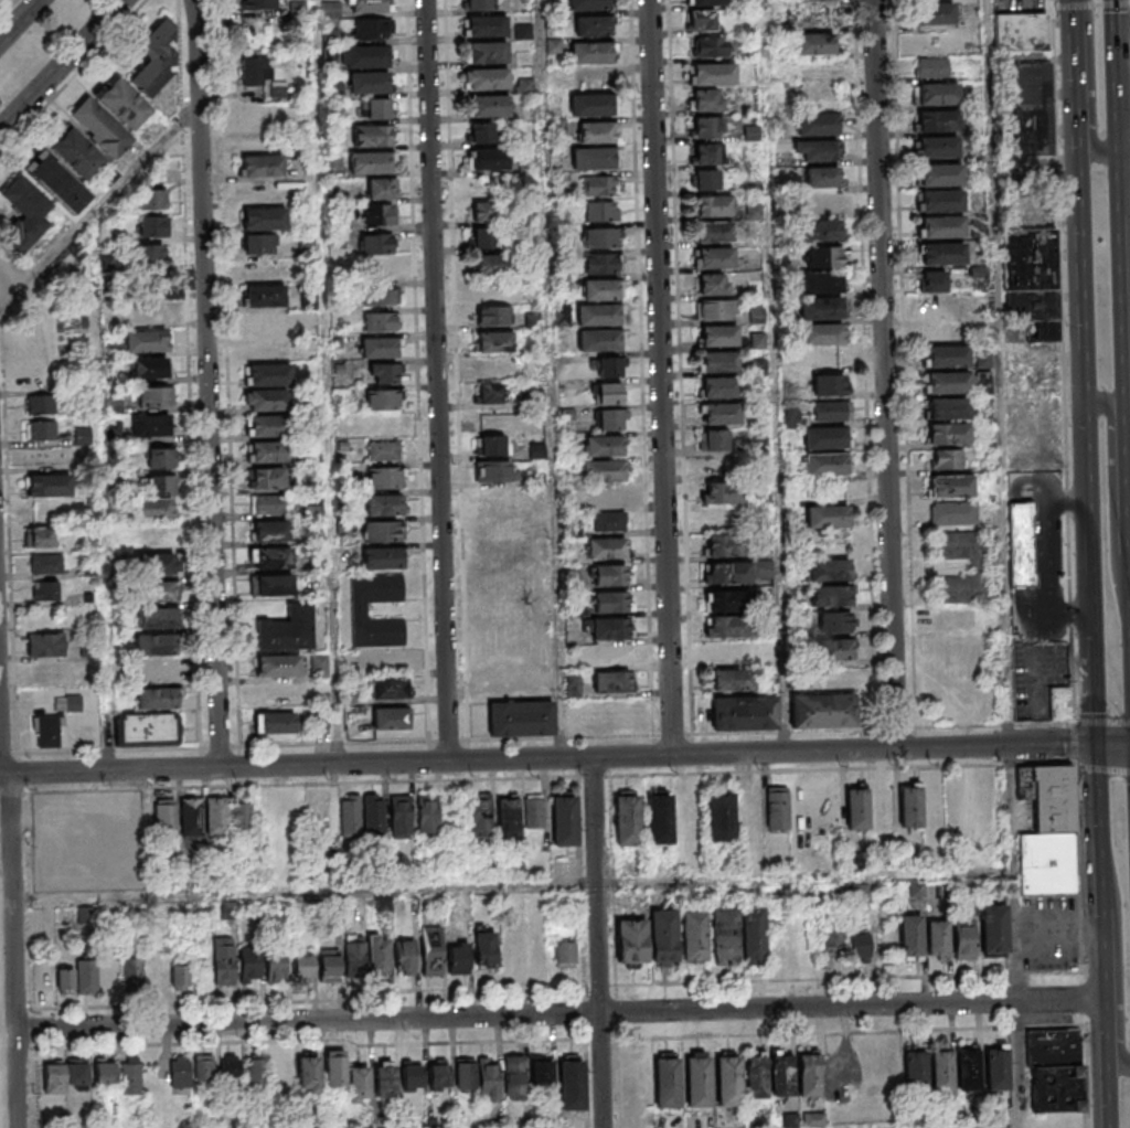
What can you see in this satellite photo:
building: (814, 0)
building: (263, 3)
road: (1073, 3)
building: (478, 4)
building: (712, 4)
road: (1090, 4)
building: (589, 7)
building: (330, 9)
building: (366, 9)
building: (935, 13)
building: (814, 17)
building: (701, 20)
road: (21, 22)
building: (594, 25)
building: (372, 28)
building: (487, 32)
building: (1022, 35)
building: (330, 36)
building: (553, 46)
building: (708, 46)
building: (814, 49)
building: (329, 53)
road: (1075, 56)
building: (591, 57)
building: (156, 58)
building: (488, 58)
building: (366, 63)
road: (62, 67)
building: (932, 67)
building: (822, 70)
building: (256, 71)
road: (1118, 74)
building: (715, 78)
building: (488, 84)
road: (1092, 85)
building: (1032, 86)
building: (369, 88)
building: (938, 98)
building: (705, 100)
building: (489, 106)
building: (375, 108)
building: (593, 109)
building: (253, 114)
building: (110, 117)
building: (817, 124)
building: (939, 125)
building: (706, 127)
building: (481, 132)
building: (1033, 134)
building: (371, 135)
building: (597, 137)
building: (818, 150)
road: (1126, 150)
building: (939, 151)
building: (76, 153)
building: (705, 155)
building: (487, 159)
building: (594, 162)
building: (262, 166)
building: (371, 168)
building: (828, 177)
building: (704, 179)
building: (942, 179)
building: (57, 182)
building: (599, 185)
building: (382, 189)
building: (150, 200)
building: (823, 203)
building: (942, 205)
building: (715, 210)
building: (483, 211)
building: (601, 211)
building: (26, 212)
building: (377, 214)
building: (265, 219)
building: (151, 225)
building: (945, 232)
building: (821, 234)
building: (716, 235)
building: (483, 237)
building: (600, 237)
building: (376, 243)
building: (259, 244)
building: (150, 253)
road: (1081, 255)
building: (823, 256)
building: (944, 258)
building: (716, 260)
building: (601, 263)
building: (107, 264)
building: (491, 264)
building: (264, 268)
building: (380, 269)
building: (6, 275)
building: (931, 280)
building: (1032, 281)
building: (711, 285)
building: (823, 286)
road: (1126, 287)
building: (601, 294)
building: (265, 296)
building: (380, 296)
building: (945, 305)
building: (152, 311)
building: (823, 311)
building: (718, 312)
building: (491, 315)
building: (599, 319)
building: (381, 321)
building: (266, 323)
building: (944, 332)
building: (823, 338)
building: (721, 339)
building: (493, 341)
building: (600, 344)
building: (152, 347)
building: (381, 347)
road: (1064, 361)
building: (948, 362)
building: (824, 364)
road: (906, 364)
building: (722, 365)
building: (608, 366)
building: (150, 368)
building: (499, 368)
road: (682, 369)
building: (383, 373)
road: (998, 373)
road: (886, 374)
building: (268, 375)
road: (775, 375)
road: (663, 377)
road: (552, 379)
road: (439, 381)
road: (206, 383)
building: (830, 384)
road: (868, 385)
road: (643, 387)
building: (949, 387)
building: (607, 392)
building: (722, 392)
building: (490, 394)
building: (153, 396)
building: (382, 400)
building: (40, 404)
building: (268, 405)
building: (831, 411)
building: (949, 413)
building: (609, 418)
building: (723, 418)
building: (41, 430)
building: (153, 430)
building: (271, 430)
building: (83, 436)
road: (330, 438)
building: (949, 438)
building: (713, 440)
building: (827, 443)
building: (492, 445)
building: (383, 450)
building: (605, 450)
building: (271, 457)
building: (159, 458)
building: (946, 458)
building: (827, 469)
building: (495, 471)
building: (604, 476)
building: (385, 478)
building: (267, 479)
building: (161, 483)
building: (46, 485)
building: (723, 493)
building: (951, 493)
building: (608, 496)
road: (1115, 498)
building: (383, 504)
building: (508, 504)
road: (1067, 506)
building: (273, 507)
building: (153, 514)
building: (955, 518)
building: (608, 521)
road: (1090, 522)
building: (829, 524)
building: (382, 531)
building: (271, 532)
building: (38, 536)
building: (154, 543)
building: (1022, 545)
building: (505, 549)
building: (725, 553)
building: (607, 555)
building: (384, 557)
road: (1123, 558)
building: (271, 560)
building: (45, 564)
road: (1054, 566)
building: (978, 567)
building: (157, 570)
building: (611, 575)
building: (829, 576)
building: (504, 579)
building: (726, 579)
building: (271, 586)
building: (45, 589)
building: (830, 595)
building: (160, 596)
building: (611, 602)
building: (732, 607)
building: (501, 608)
building: (361, 613)
road: (1038, 615)
building: (955, 620)
building: (835, 621)
building: (160, 624)
building: (611, 628)
building: (733, 632)
building: (289, 634)
building: (45, 643)
building: (839, 649)
building: (157, 650)
building: (611, 655)
building: (731, 655)
building: (277, 666)
building: (45, 671)
building: (159, 671)
road: (1038, 678)
building: (611, 681)
building: (573, 685)
building: (735, 687)
building: (388, 688)
road: (1095, 693)
building: (1059, 703)
building: (160, 704)
building: (823, 711)
building: (744, 712)
building: (391, 717)
building: (521, 719)
building: (55, 721)
building: (275, 723)
road: (1101, 723)
building: (147, 731)
road: (449, 743)
traffic signals: (1096, 745)
road: (1075, 746)
road: (1112, 746)
road: (547, 758)
road: (1102, 769)
road: (550, 779)
building: (912, 804)
building: (857, 807)
building: (751, 809)
building: (778, 810)
building: (534, 811)
building: (241, 815)
building: (374, 815)
building: (480, 815)
building: (719, 815)
building: (217, 816)
building: (350, 816)
building: (507, 816)
building: (139, 817)
building: (191, 817)
building: (402, 817)
building: (428, 817)
building: (659, 817)
building: (166, 818)
building: (564, 818)
building: (626, 819)
building: (1048, 831)
road: (1097, 832)
road: (1078, 870)
road: (316, 890)
building: (915, 890)
road: (9, 896)
building: (228, 911)
building: (994, 929)
building: (754, 930)
building: (662, 934)
building: (693, 935)
building: (724, 936)
road: (1015, 936)
building: (910, 937)
building: (964, 939)
building: (937, 940)
building: (831, 941)
road: (596, 943)
building: (857, 946)
building: (483, 947)
building: (431, 949)
building: (376, 950)
road: (1119, 951)
building: (510, 955)
building: (564, 955)
building: (354, 956)
building: (405, 957)
building: (459, 959)
building: (223, 961)
building: (250, 962)
building: (275, 964)
building: (330, 966)
building: (302, 967)
building: (132, 972)
building: (87, 976)
building: (179, 976)
building: (65, 978)
road: (1101, 986)
road: (1081, 999)
road: (248, 1003)
road: (558, 1014)
road: (806, 1034)
building: (203, 1066)
building: (284, 1067)
building: (996, 1067)
building: (231, 1068)
building: (969, 1068)
building: (334, 1070)
building: (542, 1070)
building: (916, 1070)
building: (941, 1070)
building: (256, 1071)
building: (1054, 1071)
building: (105, 1072)
building: (180, 1072)
building: (308, 1072)
building: (808, 1073)
building: (466, 1074)
building: (781, 1074)
building: (756, 1075)
building: (412, 1076)
building: (438, 1076)
building: (514, 1077)
road: (1085, 1077)
building: (54, 1078)
building: (131, 1078)
building: (489, 1079)
building: (728, 1079)
building: (667, 1081)
building: (697, 1081)
building: (356, 1082)
building: (385, 1082)
building: (572, 1084)
road: (1106, 1090)

